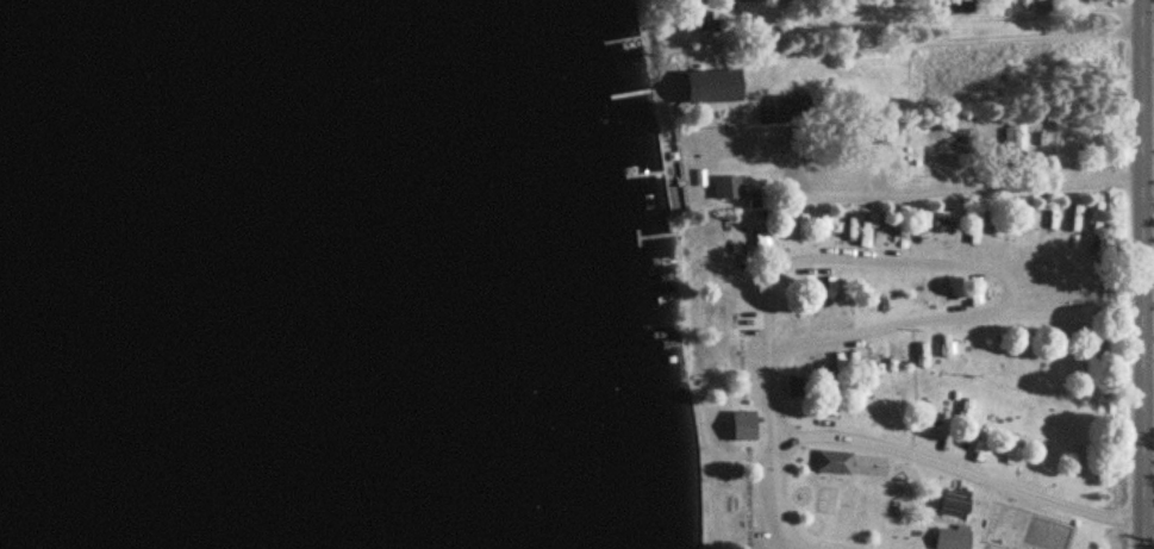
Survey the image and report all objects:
building: (1040, 5)
road: (1153, 17)
building: (703, 21)
building: (709, 86)
building: (785, 108)
building: (888, 132)
building: (1015, 137)
building: (966, 142)
building: (726, 186)
road: (934, 261)
park: (912, 376)
road: (1149, 379)
building: (796, 386)
building: (742, 425)
road: (909, 455)
building: (853, 462)
building: (955, 500)
building: (952, 538)
road: (779, 541)

